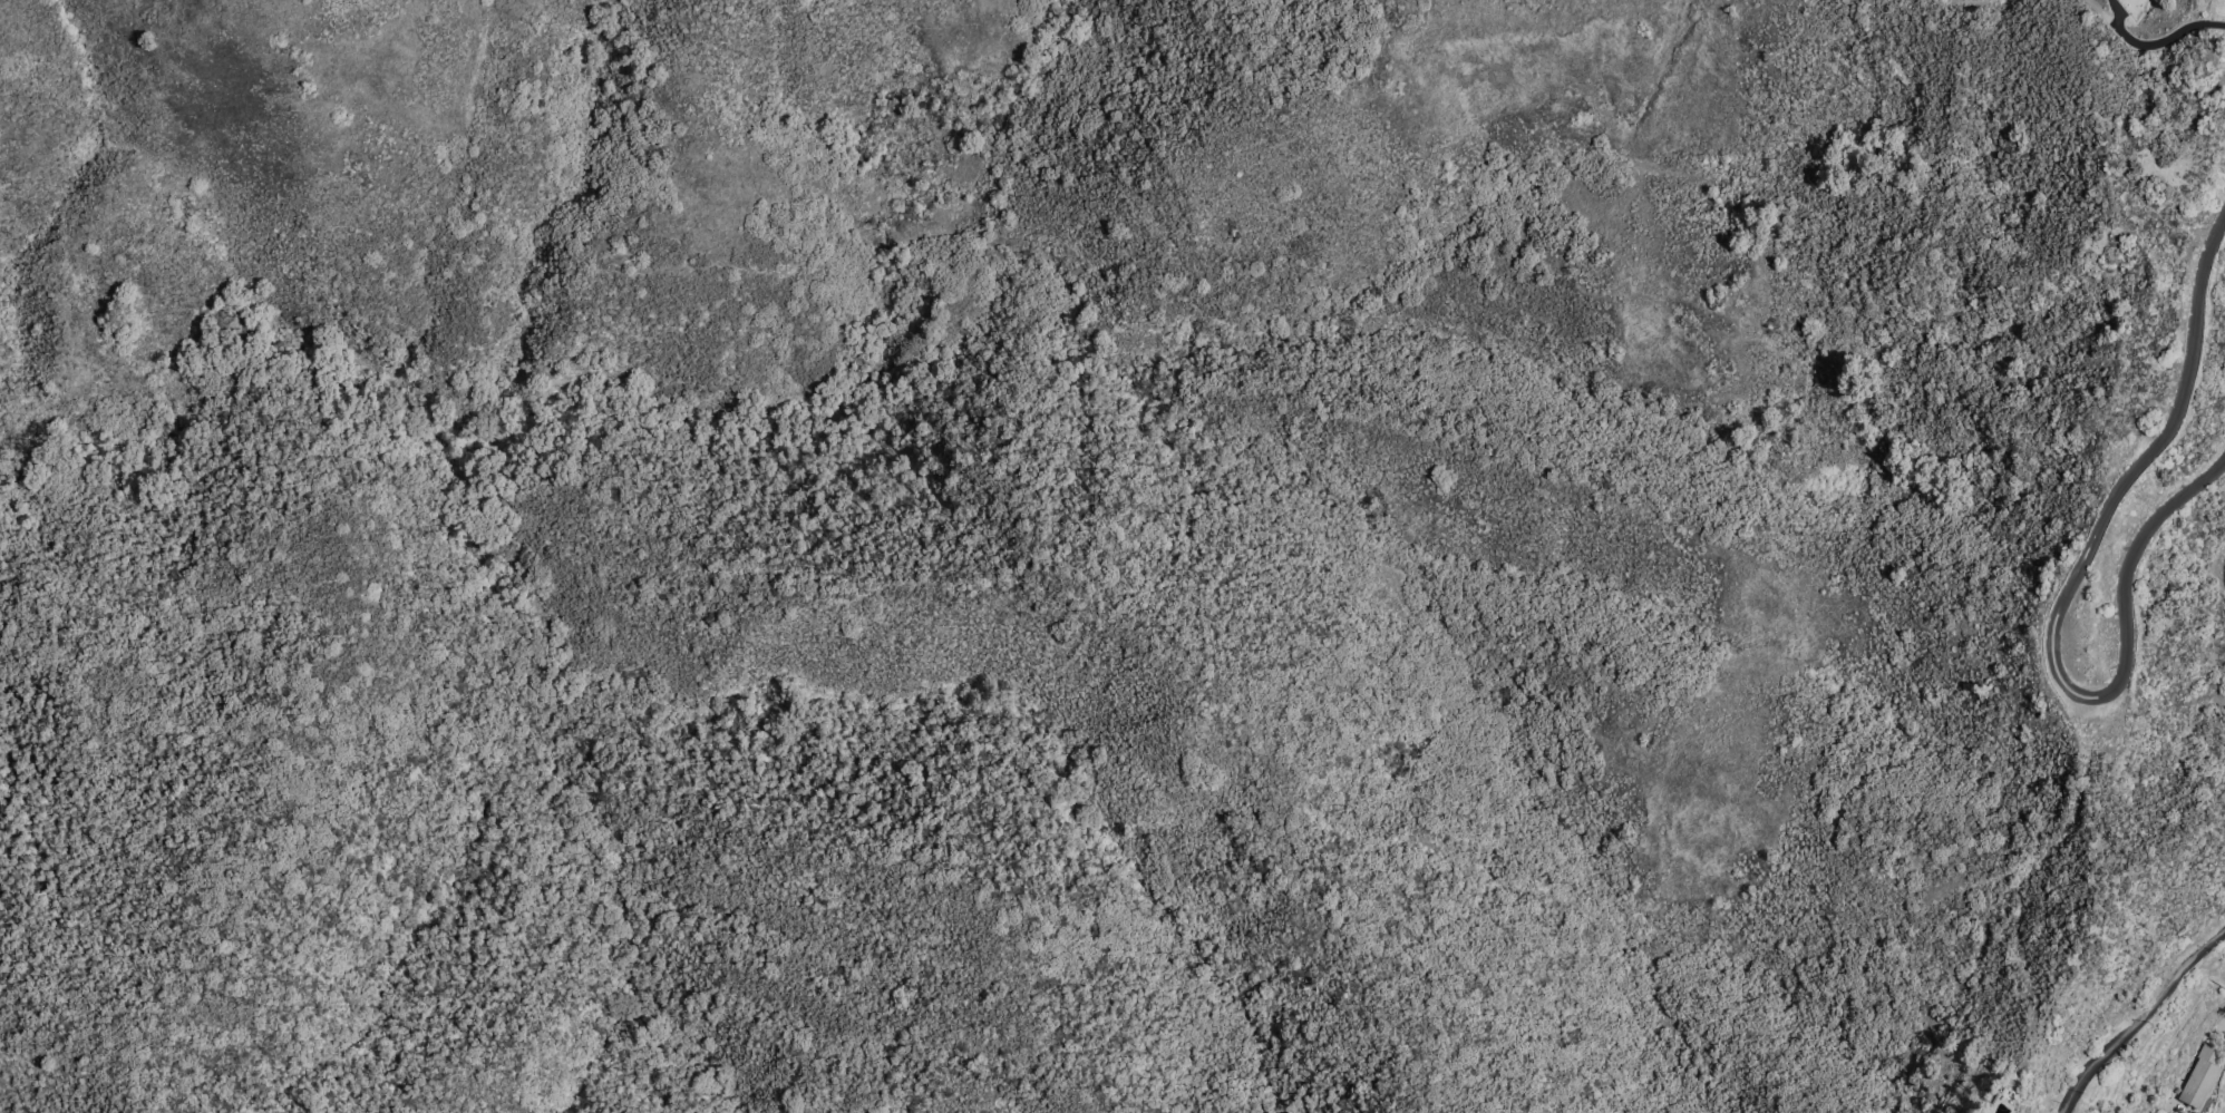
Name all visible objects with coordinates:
road: (2067, 597)
road: (2144, 1022)
road: (2222, 1033)
building: (2202, 1077)
building: (2010, 1094)

